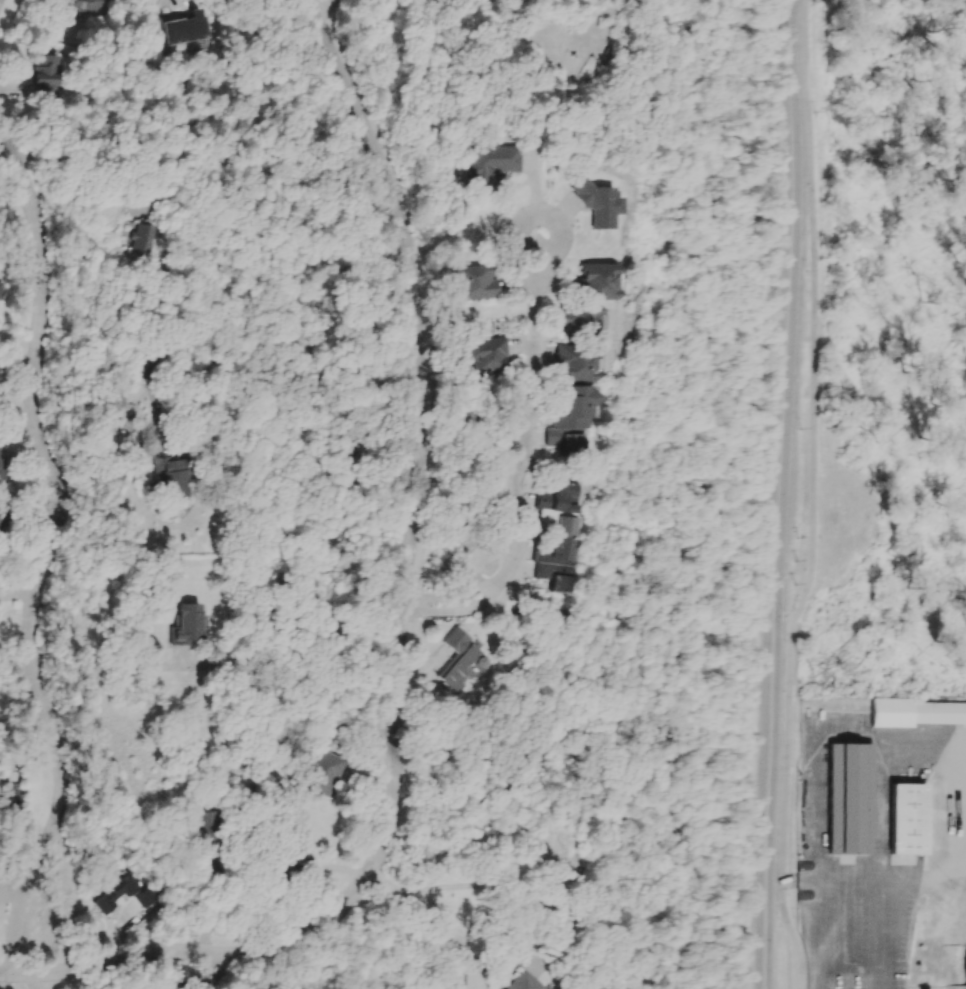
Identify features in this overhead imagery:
building: (91, 6)
road: (326, 7)
building: (190, 33)
building: (48, 77)
road: (86, 161)
building: (506, 163)
building: (151, 237)
building: (620, 281)
building: (489, 282)
building: (600, 321)
building: (500, 354)
park: (882, 355)
building: (159, 364)
building: (597, 364)
road: (423, 406)
building: (589, 419)
road: (813, 441)
building: (4, 465)
road: (539, 466)
building: (182, 478)
road: (783, 494)
road: (111, 499)
building: (577, 521)
road: (51, 550)
building: (195, 625)
building: (468, 659)
building: (914, 708)
road: (291, 710)
road: (952, 747)
building: (330, 775)
road: (962, 783)
road: (819, 799)
building: (852, 800)
building: (904, 816)
building: (210, 831)
parking lot: (859, 845)
road: (943, 869)
building: (281, 877)
road: (844, 880)
building: (123, 896)
road: (441, 916)
road: (792, 934)
road: (891, 934)
road: (220, 952)
road: (218, 971)
road: (935, 985)
building: (529, 987)
building: (540, 988)

